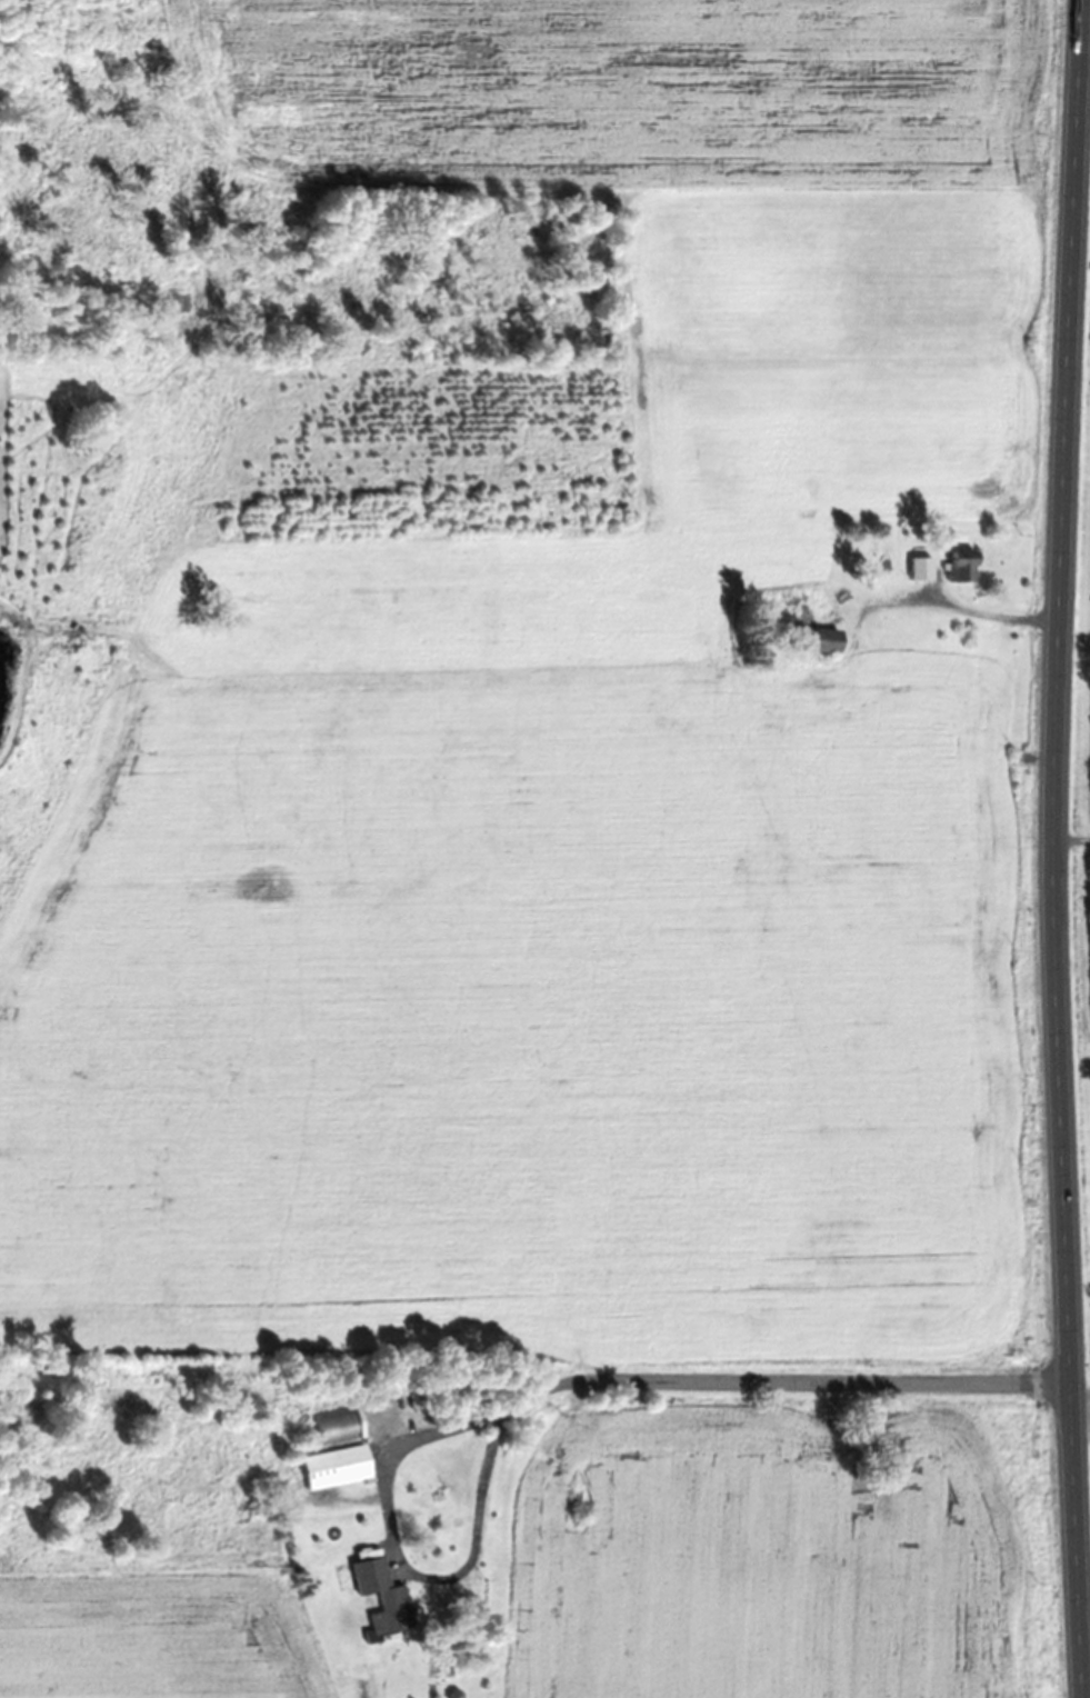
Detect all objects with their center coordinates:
building: (960, 566)
building: (919, 568)
building: (811, 630)
road: (1053, 849)
road: (819, 1377)
building: (338, 1426)
building: (337, 1467)
building: (382, 1594)

